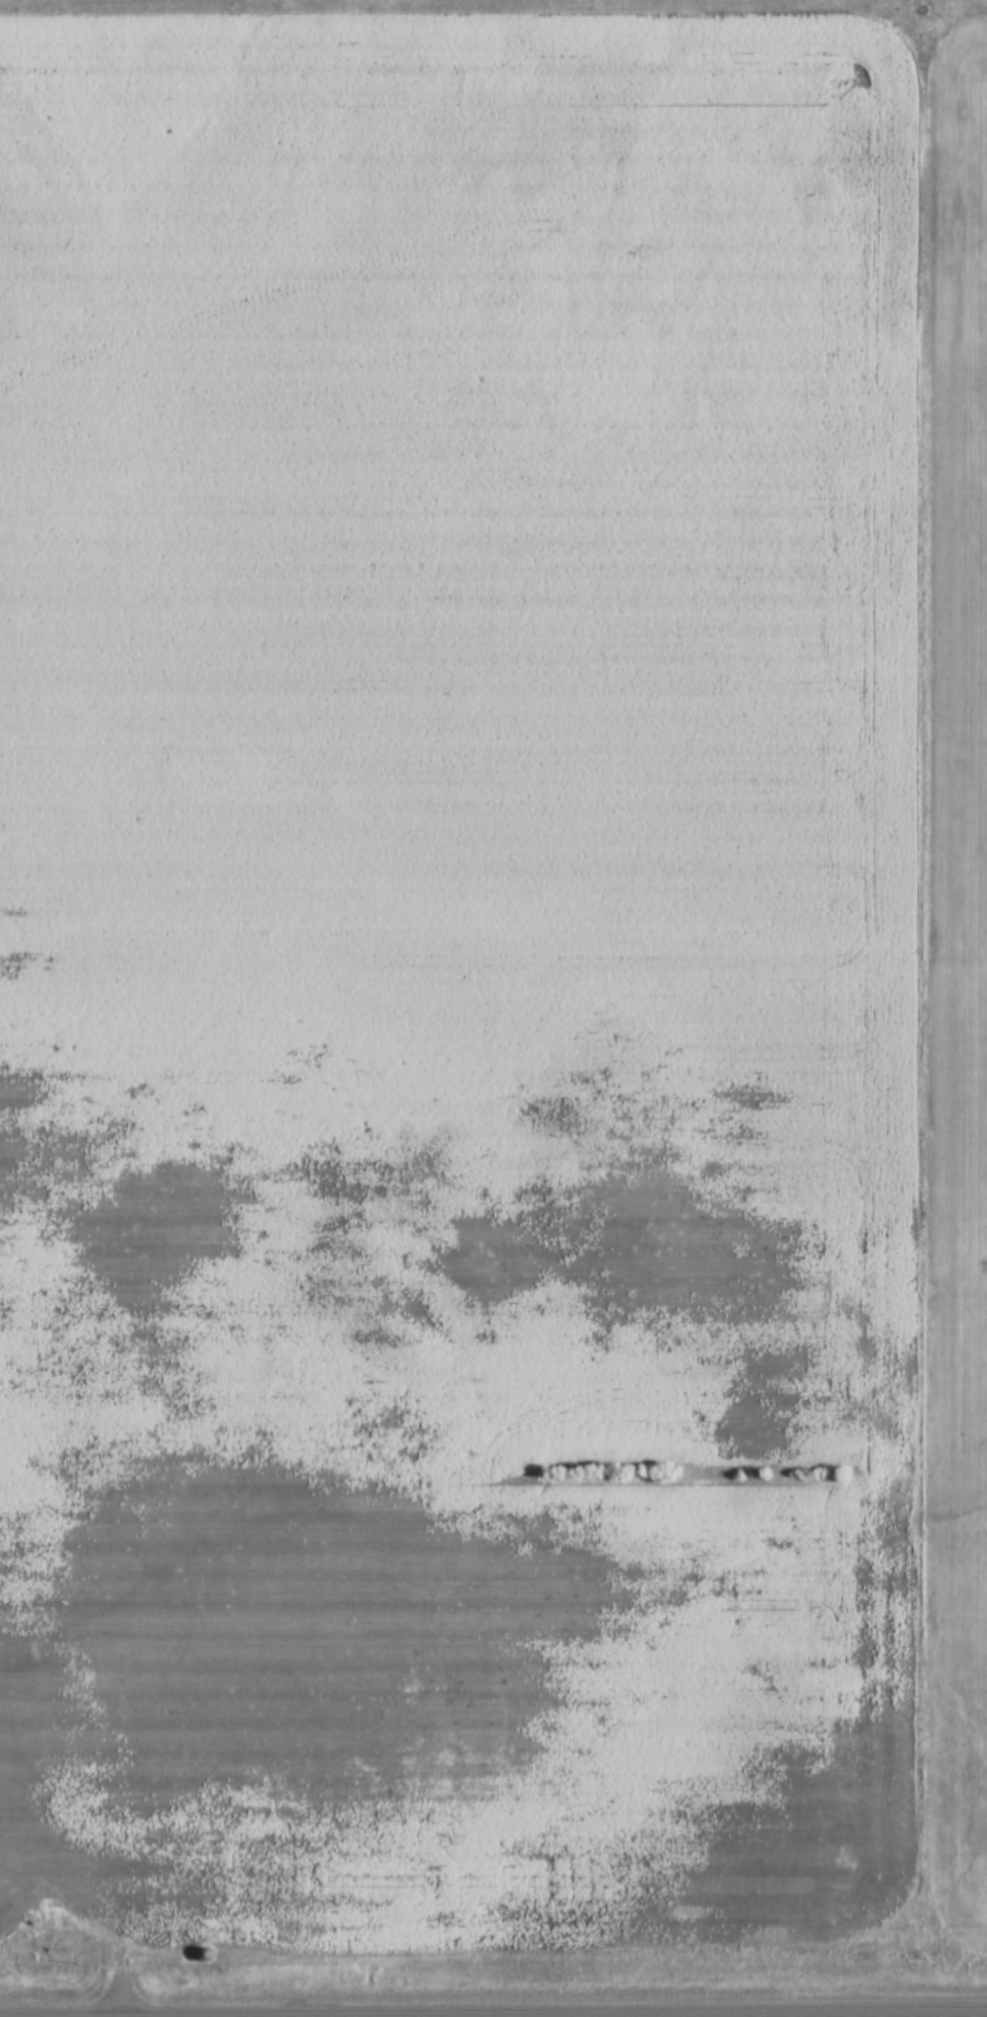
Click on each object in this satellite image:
building: (203, 1953)

